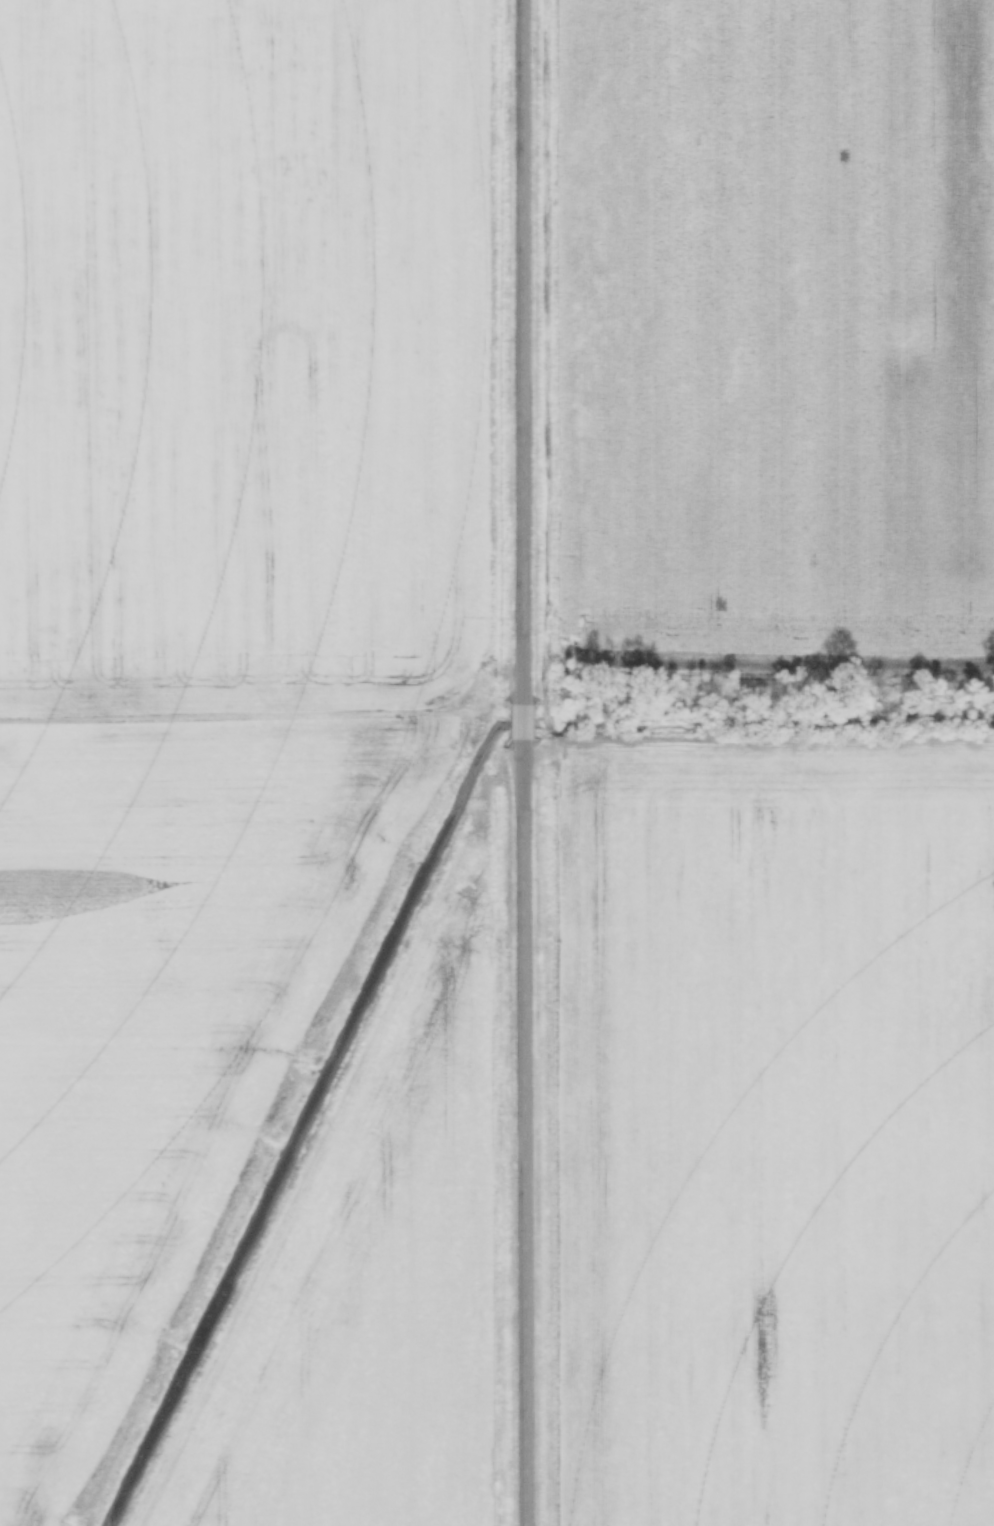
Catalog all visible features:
road: (523, 351)
road: (523, 720)
road: (523, 1132)
crop: (777, 1137)

